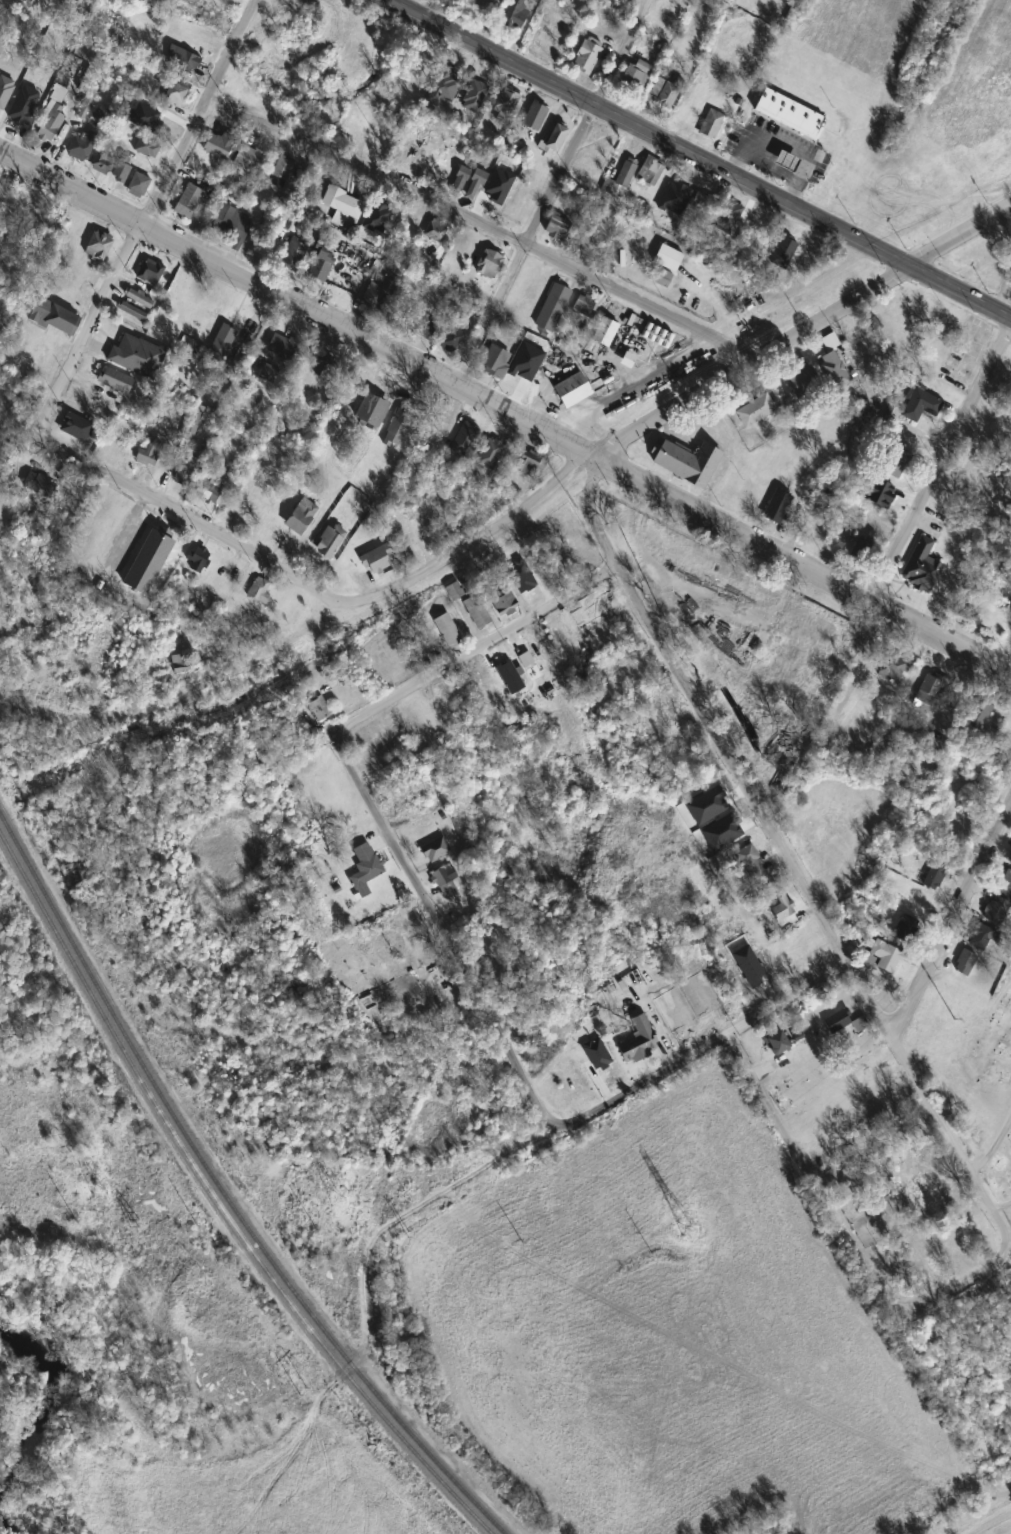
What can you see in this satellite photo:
building: (486, 5)
building: (516, 14)
road: (620, 52)
building: (587, 55)
building: (182, 60)
building: (421, 73)
building: (635, 78)
building: (665, 92)
building: (174, 95)
building: (506, 106)
building: (788, 113)
building: (534, 116)
building: (52, 118)
building: (714, 125)
building: (554, 140)
building: (219, 145)
building: (82, 146)
building: (146, 147)
building: (406, 156)
road: (699, 158)
building: (248, 159)
building: (104, 160)
road: (2, 161)
building: (425, 161)
building: (786, 161)
building: (121, 169)
building: (444, 170)
building: (650, 171)
building: (281, 173)
building: (626, 173)
building: (460, 180)
building: (138, 185)
building: (475, 185)
building: (494, 195)
building: (188, 201)
building: (704, 203)
building: (342, 205)
road: (140, 214)
building: (16, 216)
road: (480, 220)
building: (232, 226)
building: (557, 229)
building: (435, 231)
road: (959, 232)
road: (524, 243)
building: (99, 245)
building: (293, 255)
building: (321, 263)
building: (489, 264)
building: (664, 266)
building: (151, 273)
building: (377, 295)
building: (140, 299)
building: (897, 305)
building: (584, 306)
building: (552, 308)
building: (133, 311)
building: (54, 317)
building: (874, 326)
building: (426, 328)
building: (605, 332)
building: (224, 339)
building: (452, 340)
building: (281, 347)
building: (859, 351)
building: (136, 356)
road: (753, 358)
building: (495, 362)
building: (834, 370)
building: (268, 373)
road: (436, 373)
building: (115, 380)
building: (803, 381)
building: (572, 390)
building: (920, 407)
building: (370, 411)
building: (755, 411)
building: (442, 416)
building: (398, 426)
building: (120, 440)
building: (495, 449)
road: (577, 449)
building: (148, 451)
road: (941, 460)
building: (688, 462)
building: (896, 464)
building: (529, 467)
building: (186, 470)
railway: (523, 476)
building: (39, 484)
building: (213, 489)
building: (777, 507)
building: (300, 516)
road: (187, 522)
building: (329, 541)
road: (466, 545)
building: (863, 548)
building: (151, 557)
building: (198, 560)
building: (579, 560)
building: (376, 561)
building: (921, 567)
building: (532, 586)
building: (259, 591)
building: (455, 591)
building: (505, 606)
building: (602, 606)
building: (476, 611)
building: (559, 629)
building: (448, 631)
road: (940, 636)
road: (276, 643)
road: (474, 648)
building: (894, 666)
building: (510, 678)
building: (929, 690)
building: (451, 693)
building: (319, 709)
building: (978, 713)
building: (1009, 738)
building: (786, 740)
building: (376, 752)
building: (804, 828)
building: (435, 850)
building: (751, 861)
building: (1010, 863)
building: (366, 864)
road: (788, 867)
building: (934, 878)
building: (444, 880)
building: (1004, 883)
building: (782, 909)
building: (995, 910)
building: (398, 922)
road: (948, 923)
building: (905, 928)
road: (439, 934)
building: (982, 937)
building: (883, 957)
building: (965, 963)
power tower: (954, 1019)
building: (842, 1023)
building: (638, 1041)
building: (776, 1043)
road: (699, 1051)
park: (981, 1091)
road: (992, 1150)
road: (820, 1190)
power tower: (100, 1192)
railway: (225, 1193)
railway: (219, 1202)
building: (687, 1228)
power tower: (689, 1231)
road: (373, 1232)
park: (1010, 1261)
road: (962, 1287)

